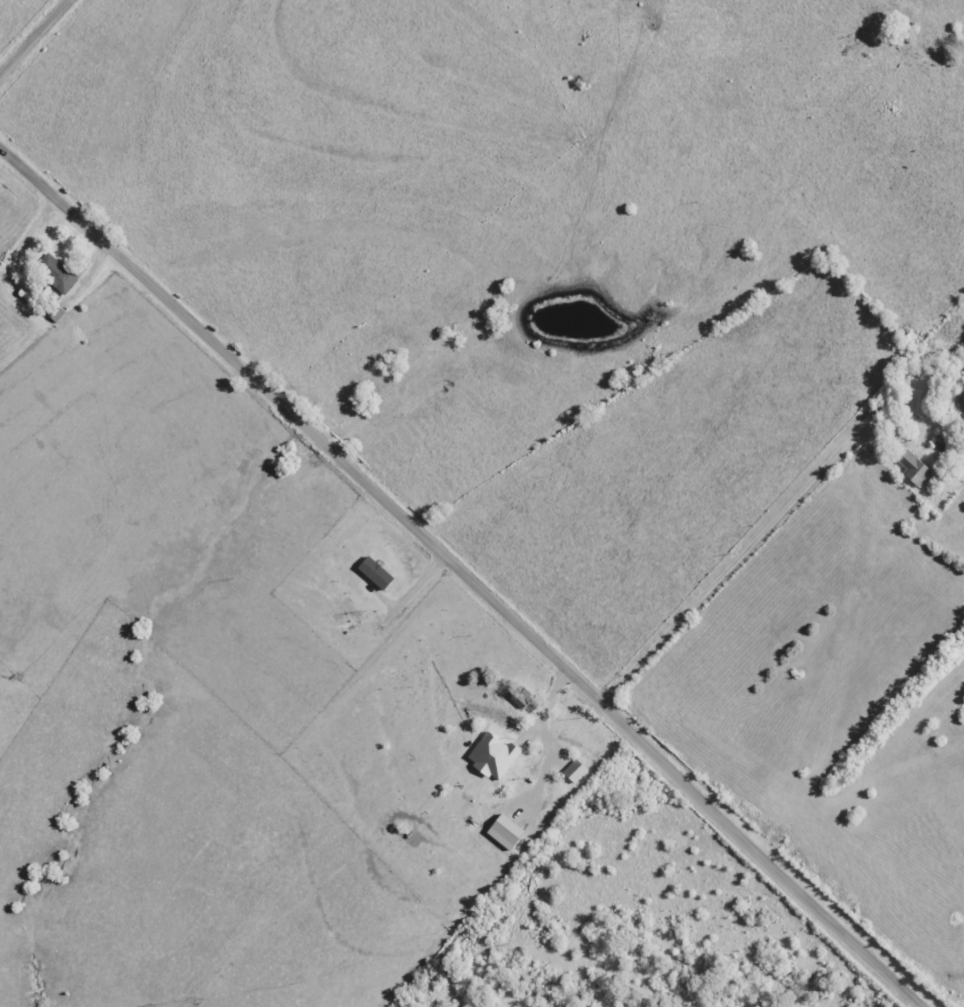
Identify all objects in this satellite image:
road: (35, 39)
building: (59, 277)
building: (56, 314)
building: (914, 470)
building: (375, 573)
road: (717, 573)
road: (460, 579)
building: (493, 757)
building: (575, 772)
building: (505, 832)

